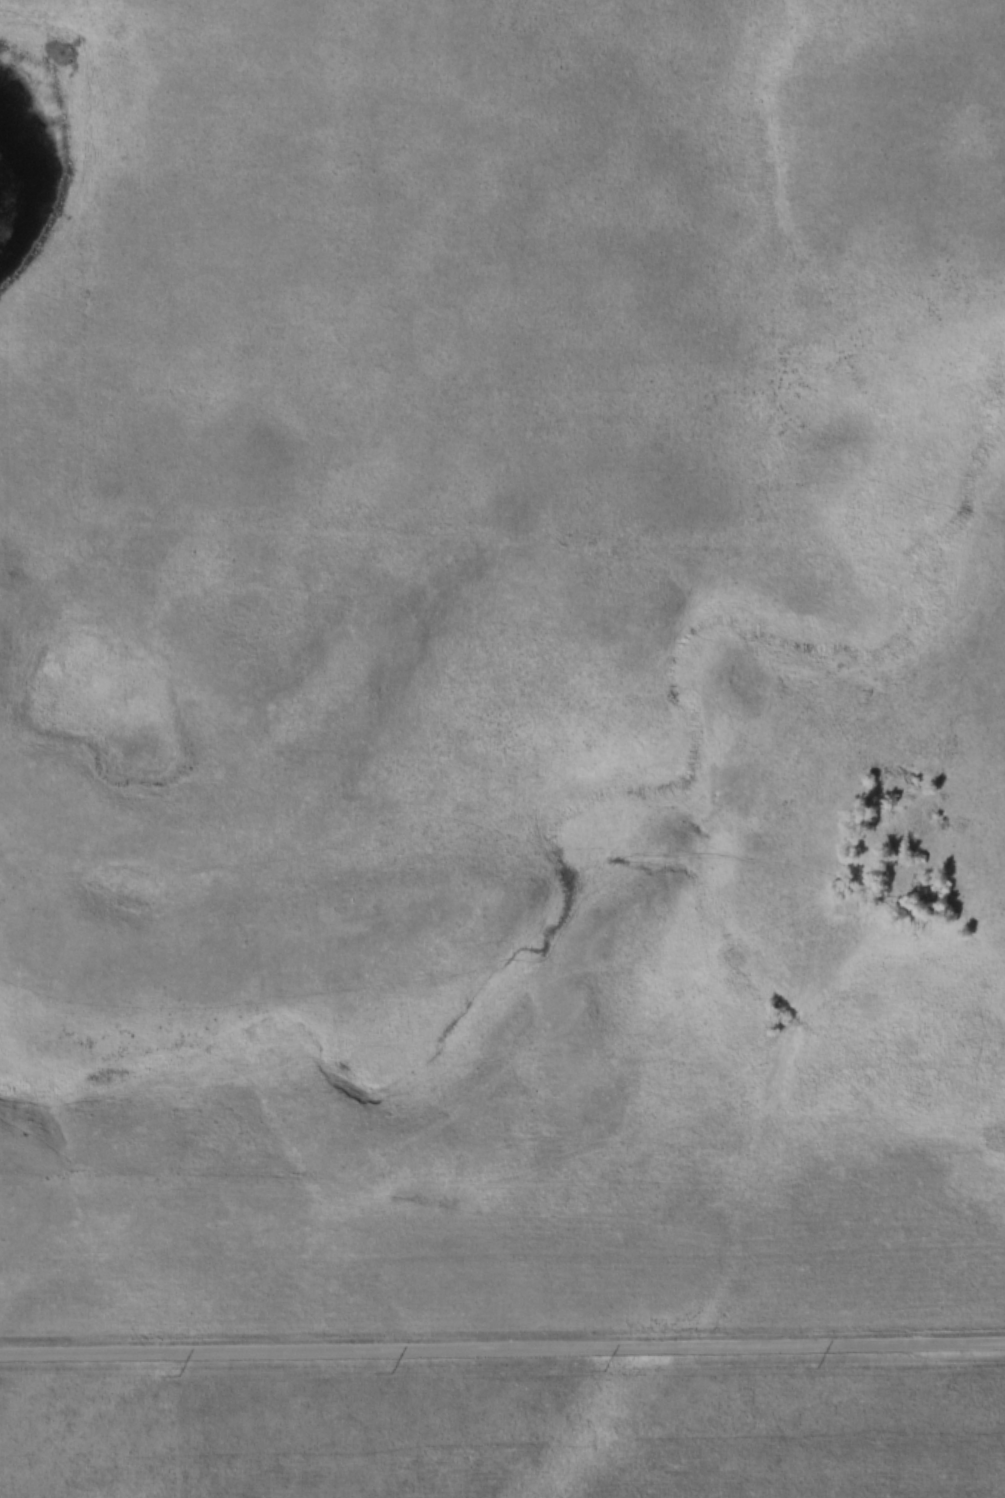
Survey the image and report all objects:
road: (502, 1355)

